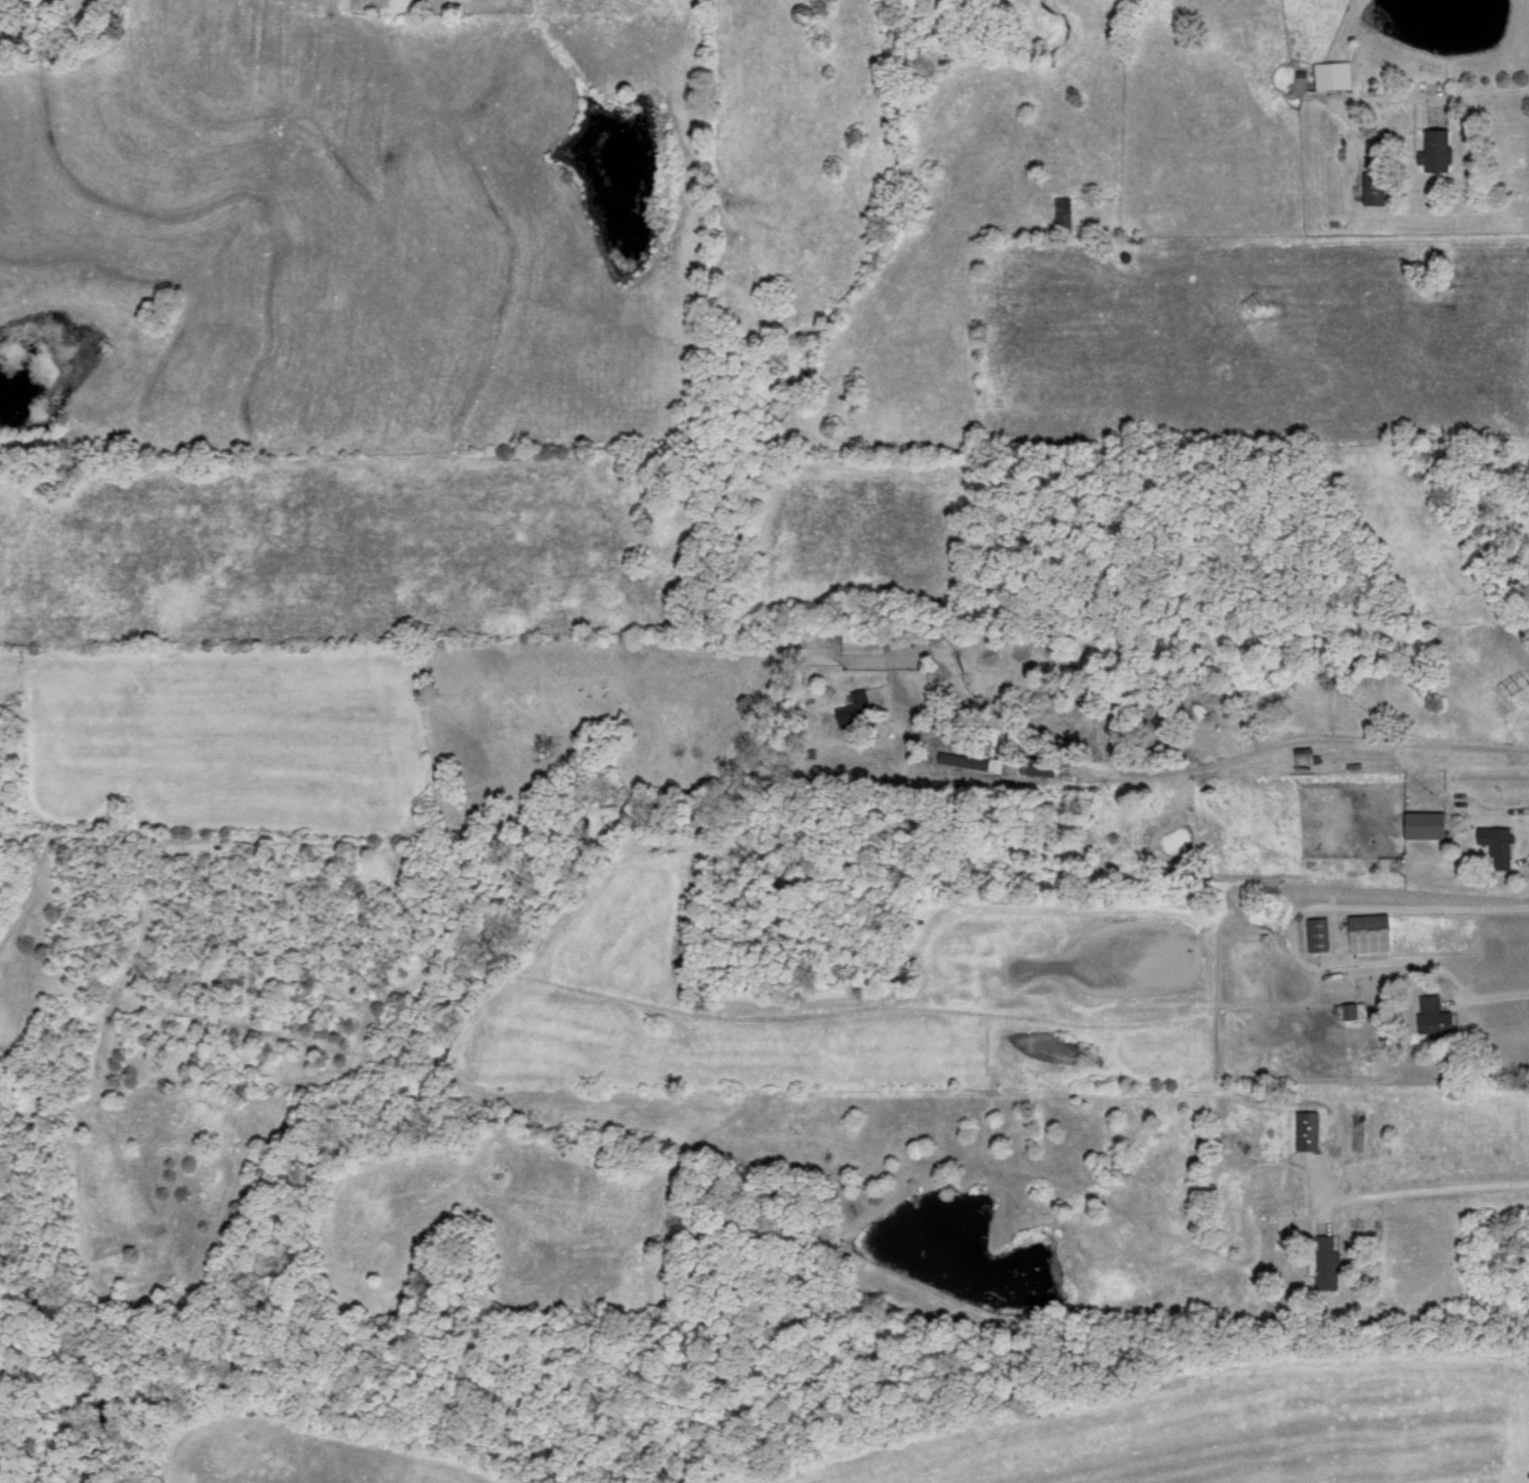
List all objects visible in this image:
building: (1332, 74)
road: (1468, 94)
building: (1437, 149)
building: (1373, 187)
building: (1062, 211)
building: (862, 640)
building: (855, 708)
building: (1304, 754)
building: (1036, 763)
road: (1199, 767)
road: (1494, 811)
building: (1426, 822)
building: (1497, 844)
building: (1370, 931)
building: (1318, 932)
road: (1293, 942)
building: (1350, 1009)
building: (1435, 1014)
road: (1340, 1103)
building: (1308, 1129)
road: (1482, 1187)
building: (1327, 1265)
park: (21, 1385)

